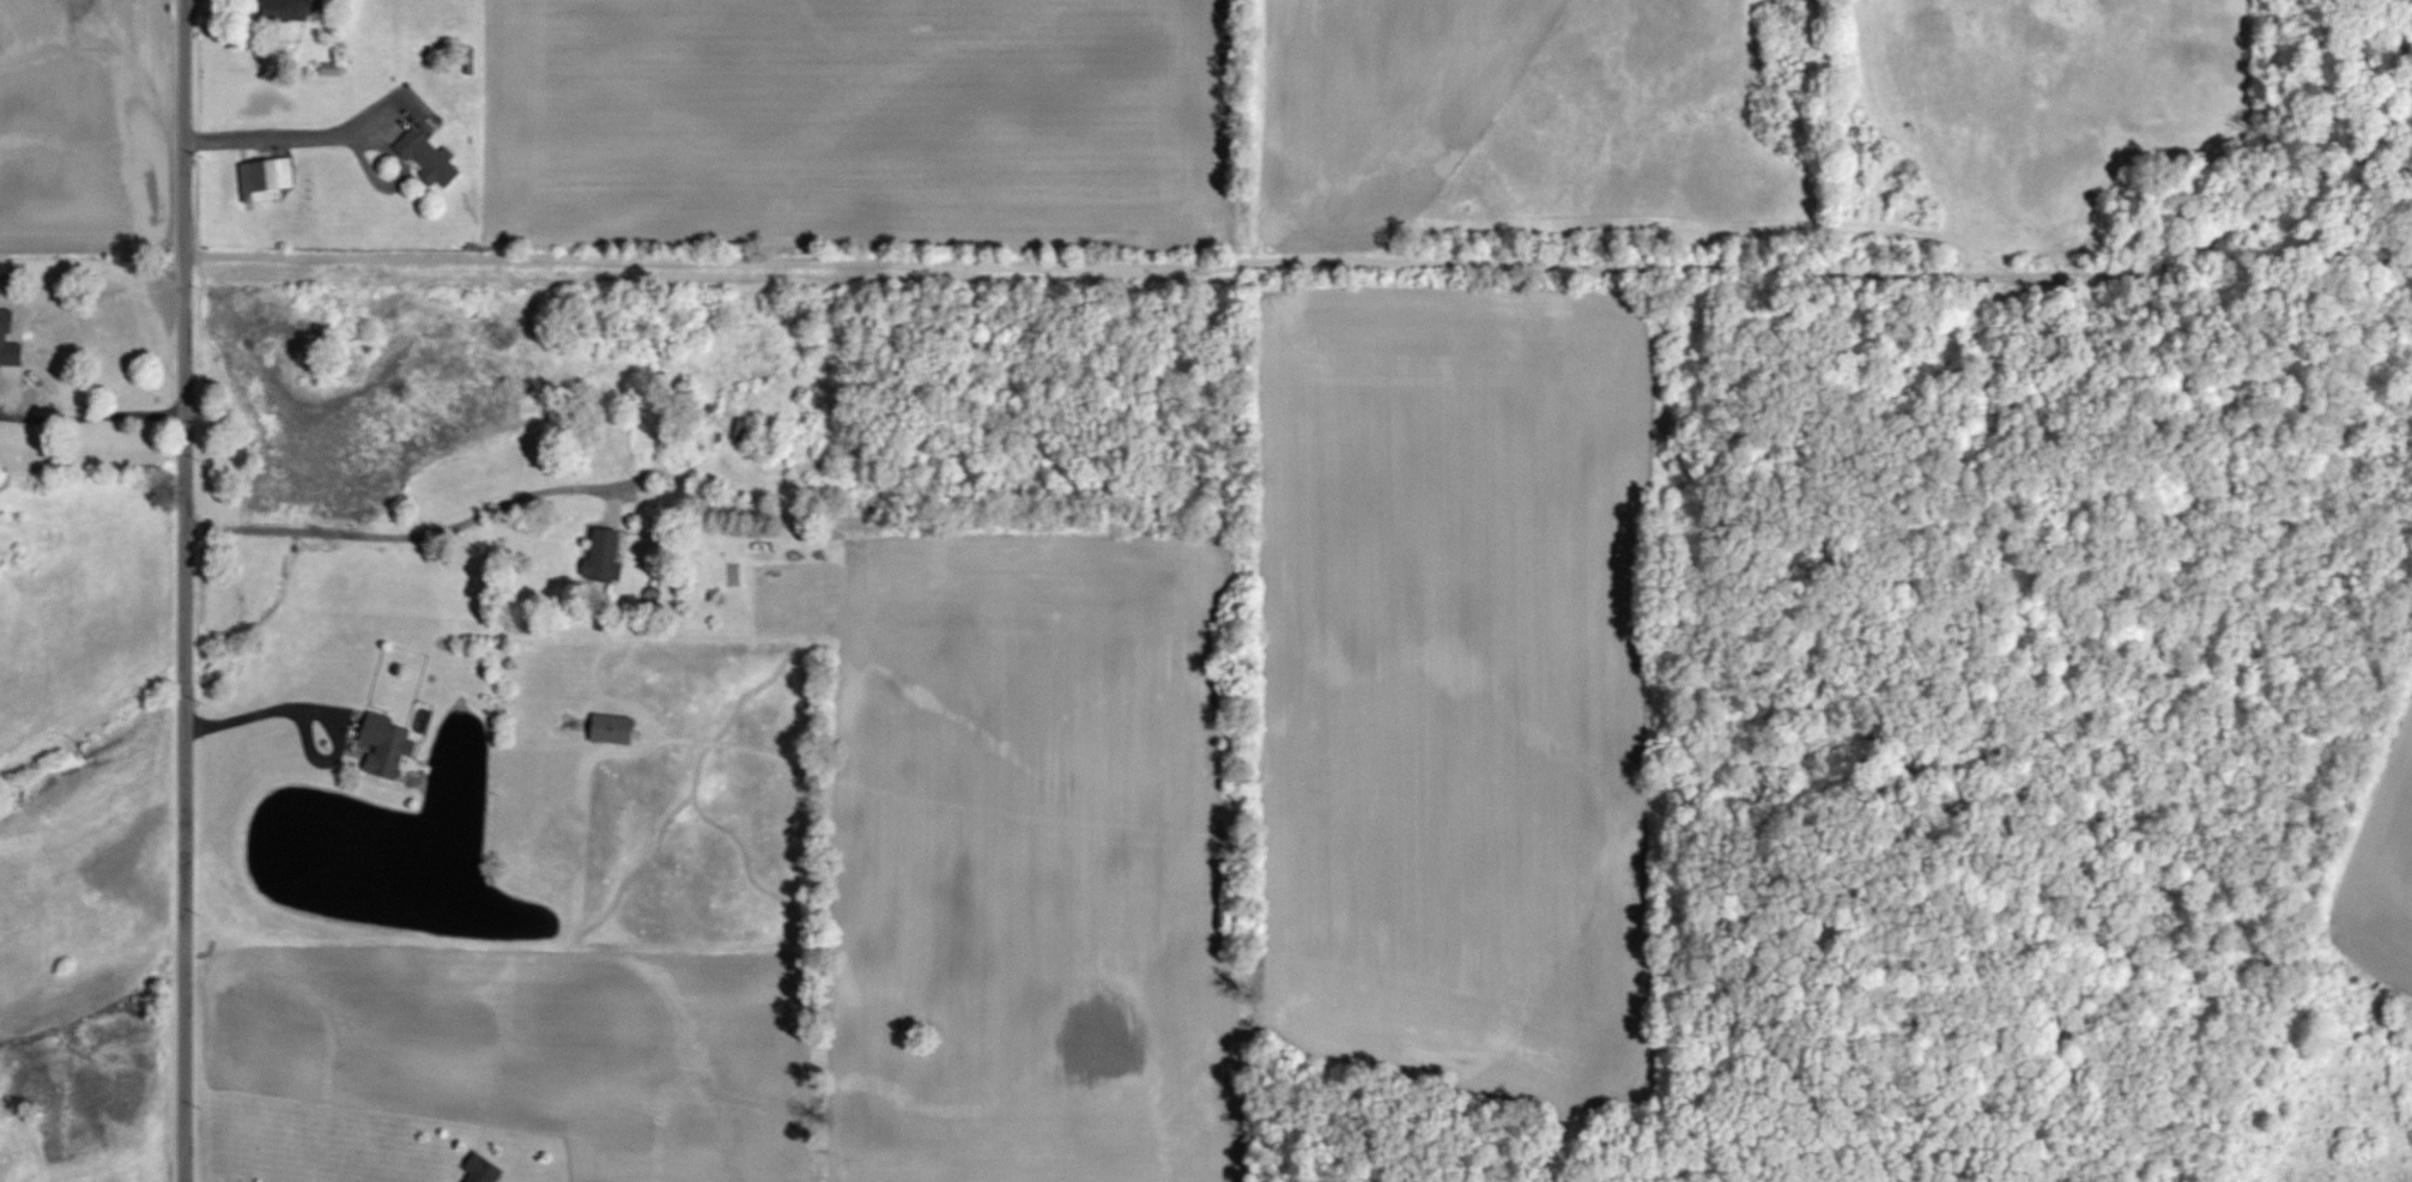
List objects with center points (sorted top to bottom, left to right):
building: (297, 10)
road: (296, 137)
building: (432, 159)
building: (269, 181)
road: (1299, 265)
road: (91, 419)
road: (383, 516)
building: (608, 554)
road: (182, 590)
road: (311, 703)
building: (617, 728)
building: (390, 745)
building: (487, 1170)

